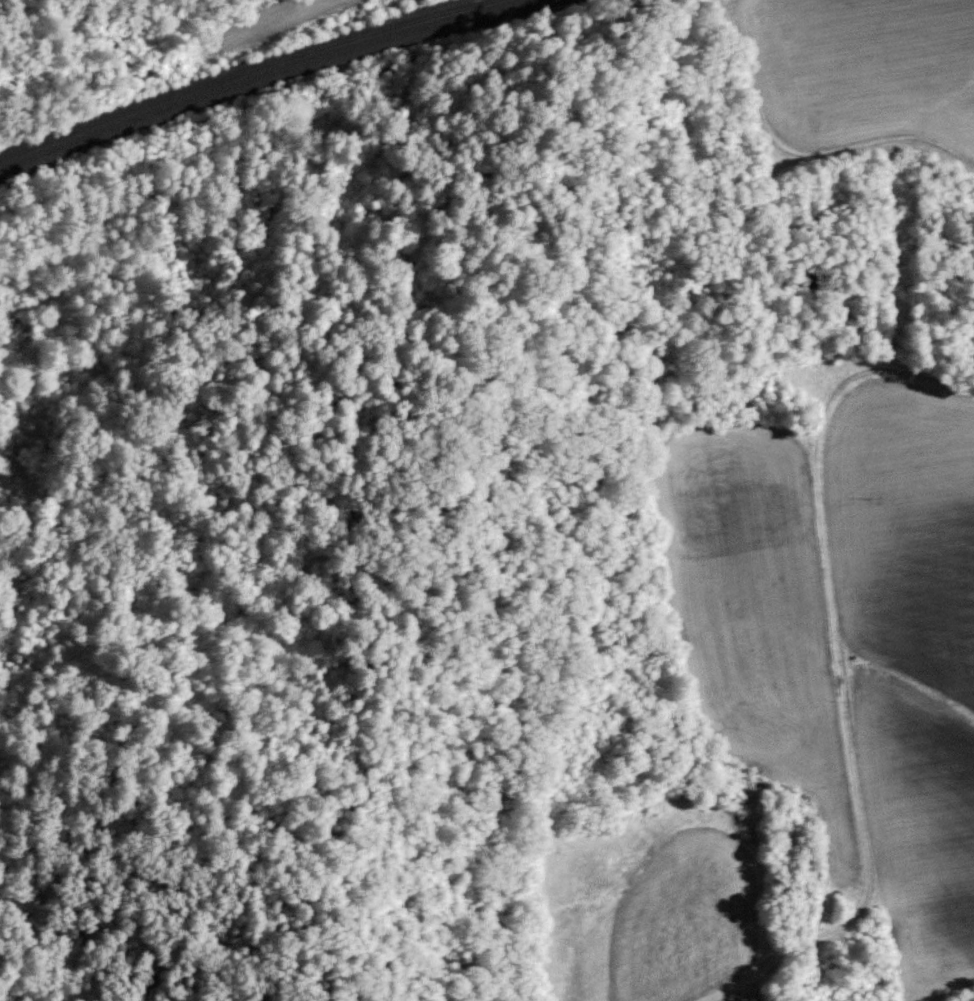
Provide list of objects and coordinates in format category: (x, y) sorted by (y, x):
railway: (242, 71)
railway: (268, 75)

